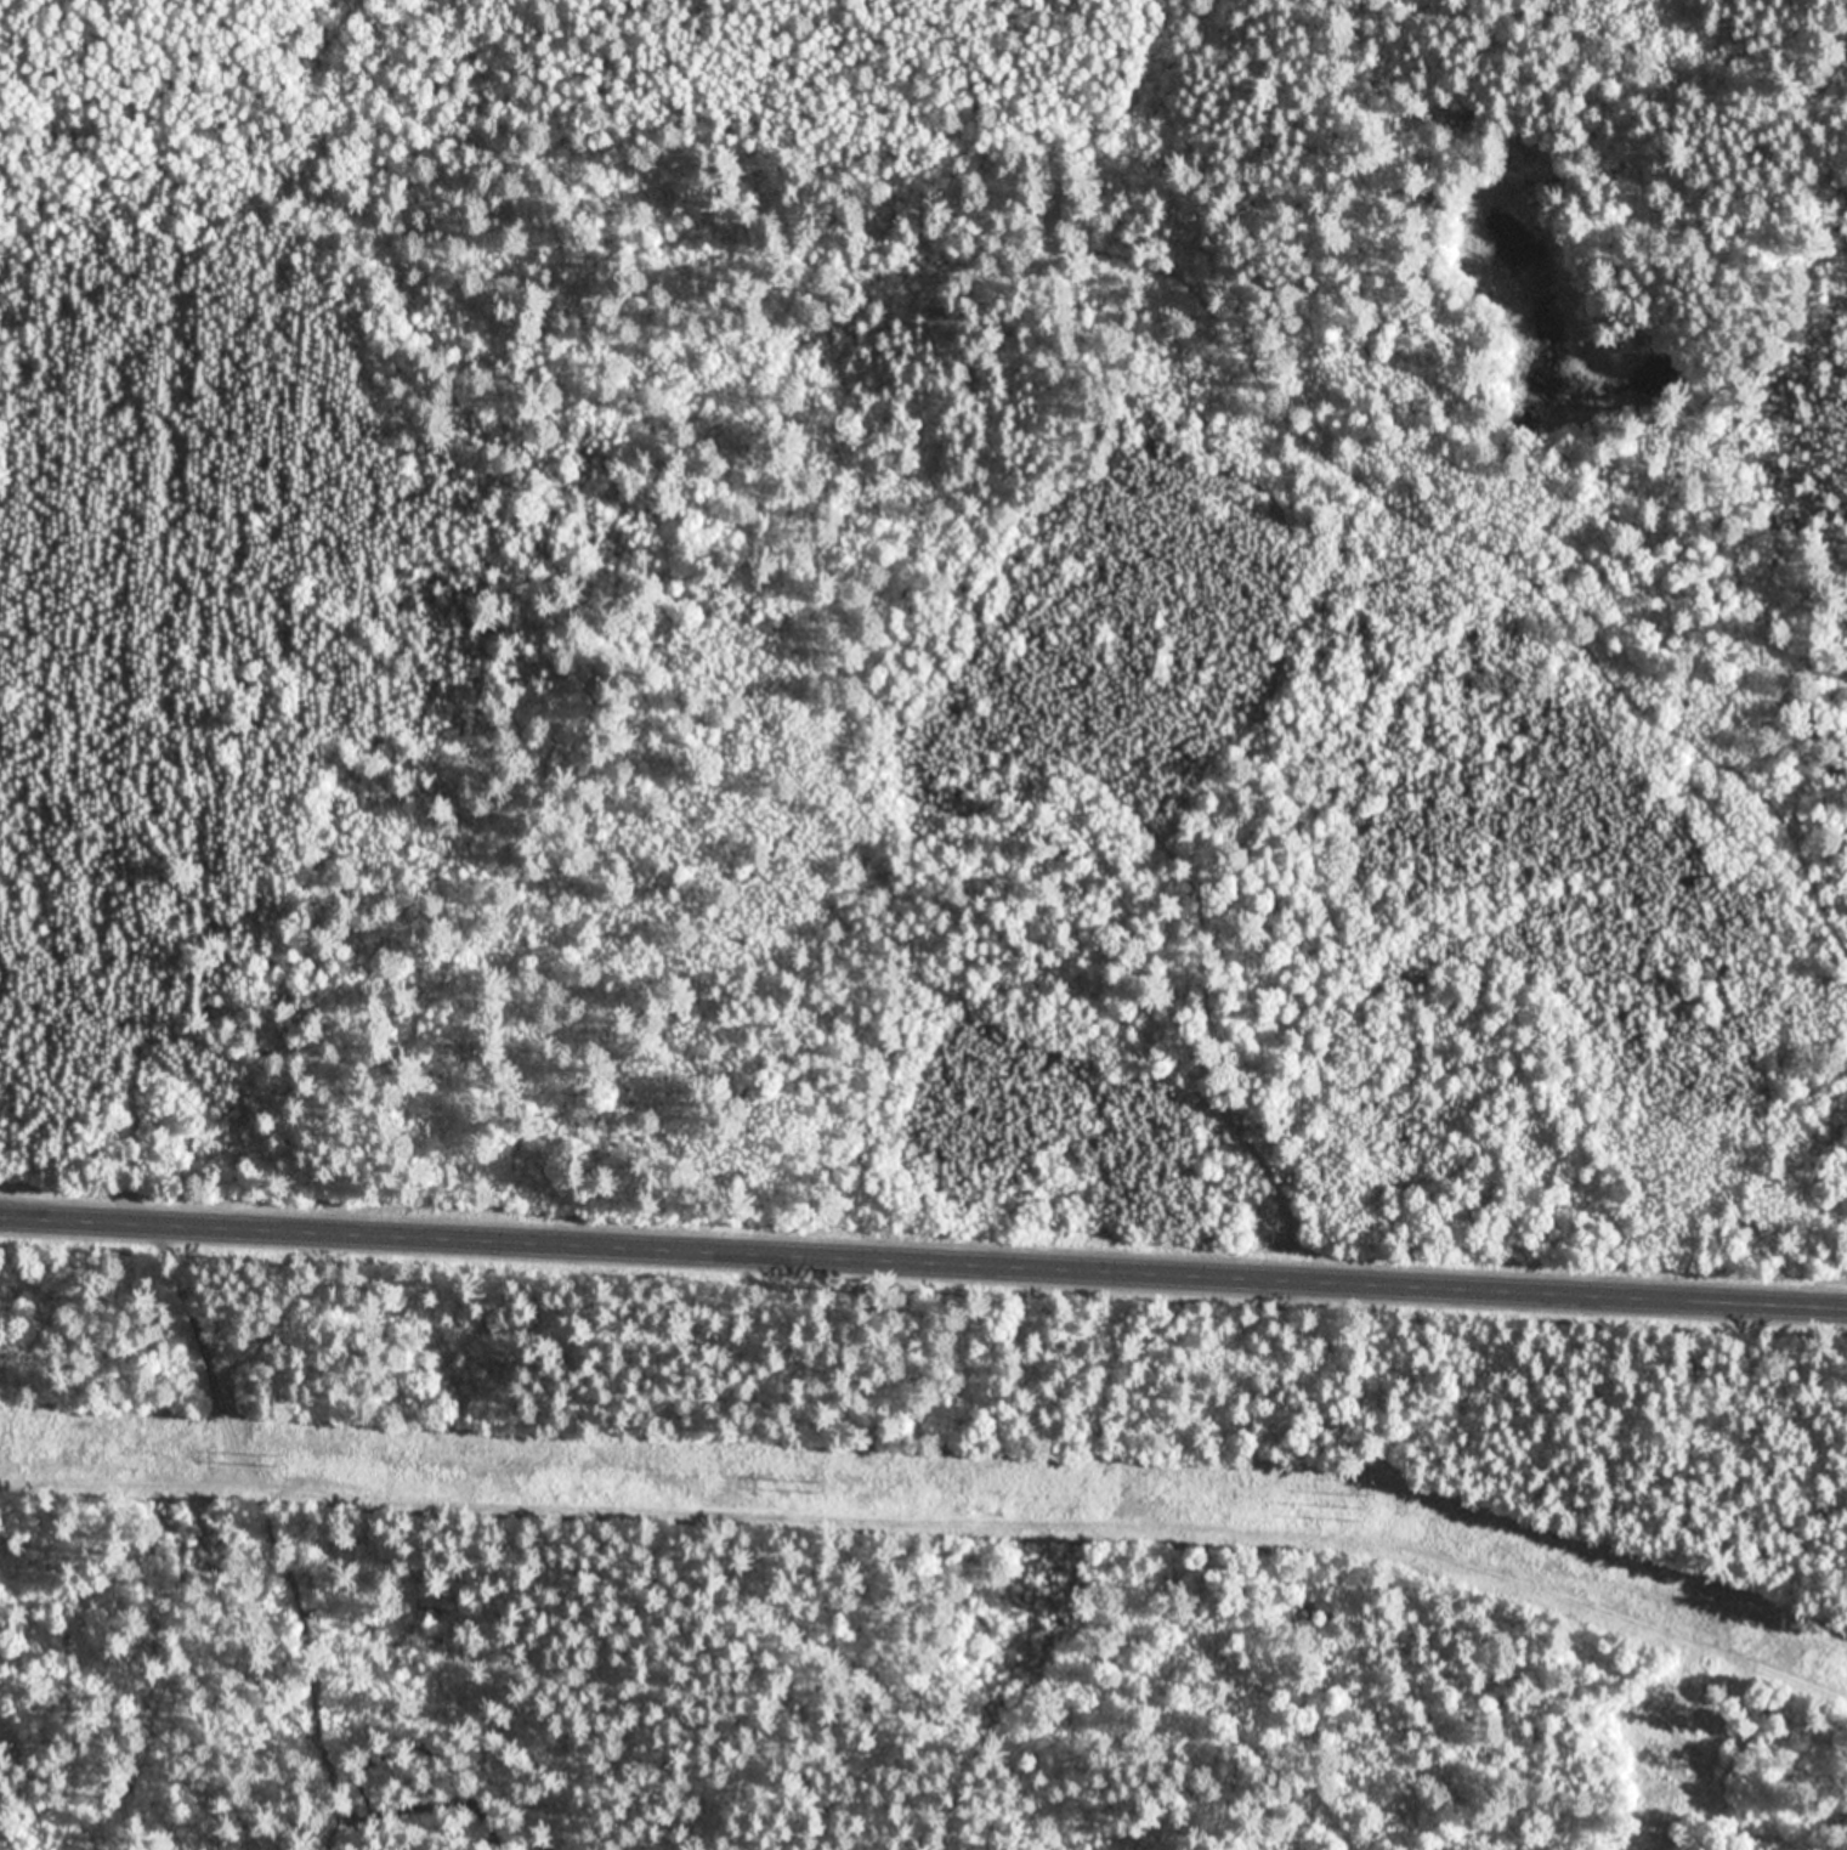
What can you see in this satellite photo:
road: (923, 1260)

